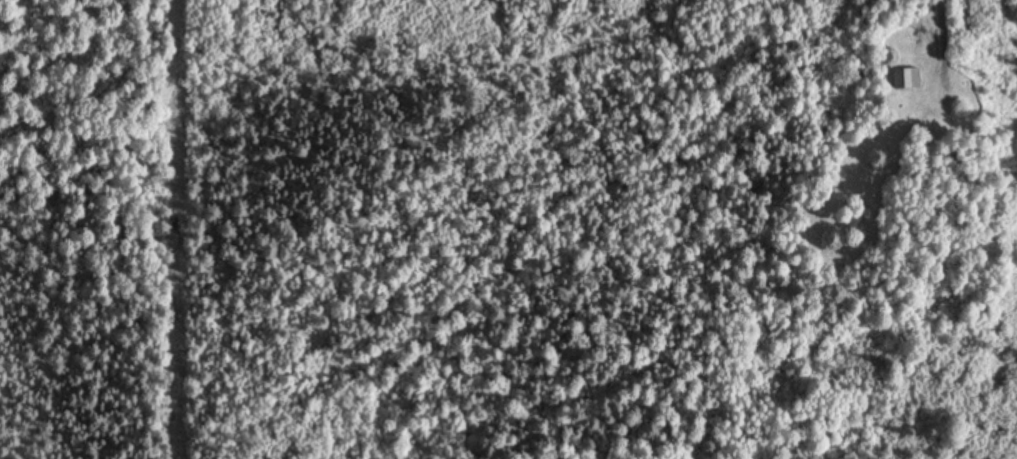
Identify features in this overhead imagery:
building: (906, 78)

